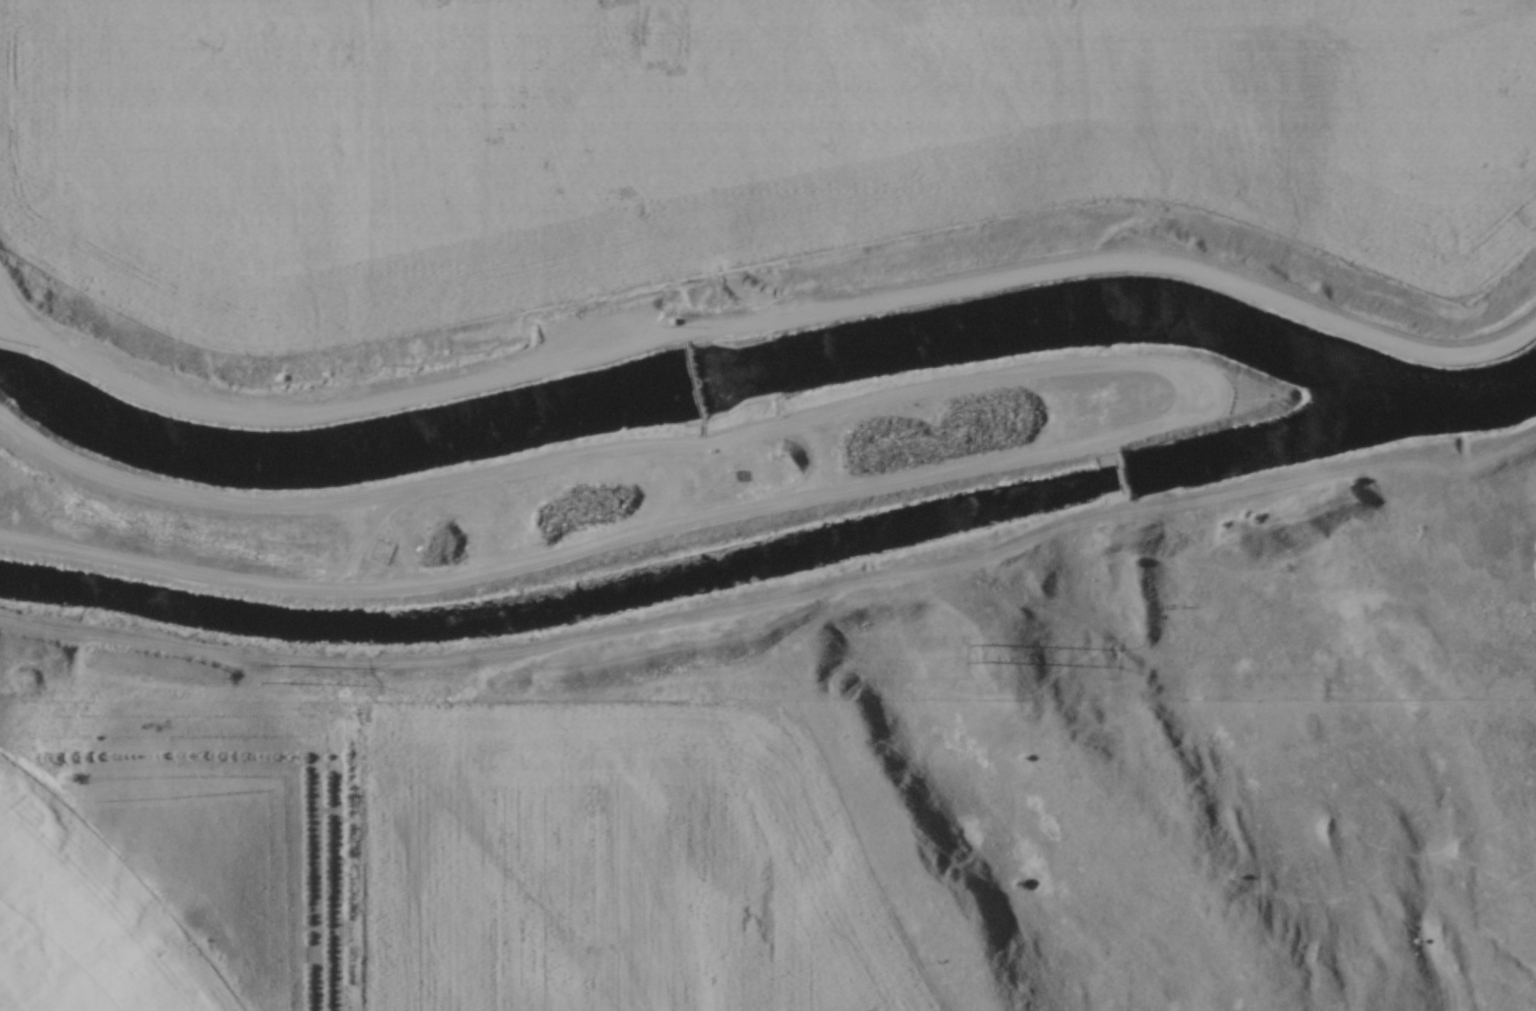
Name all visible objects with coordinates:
road: (12, 313)
road: (774, 323)
road: (1205, 379)
power tower: (989, 654)
power tower: (283, 675)

